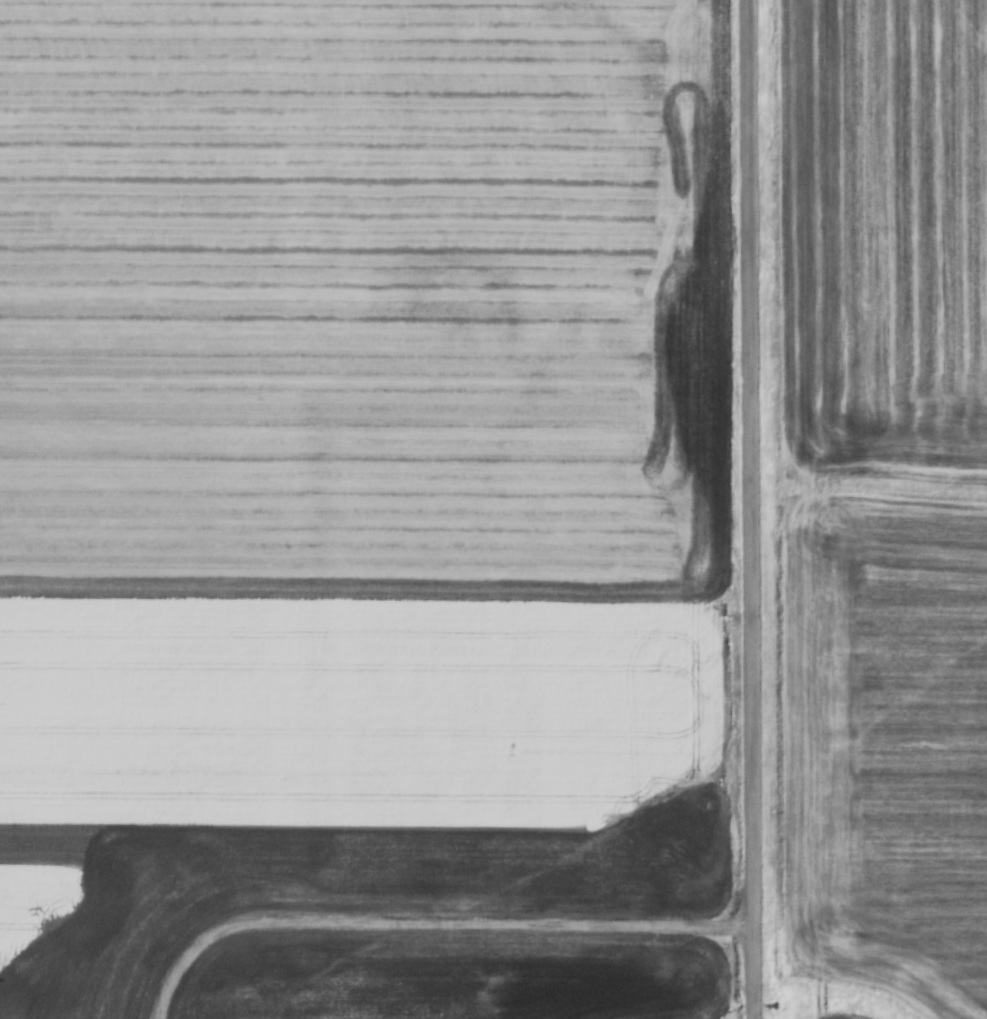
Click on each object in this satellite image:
road: (758, 509)

